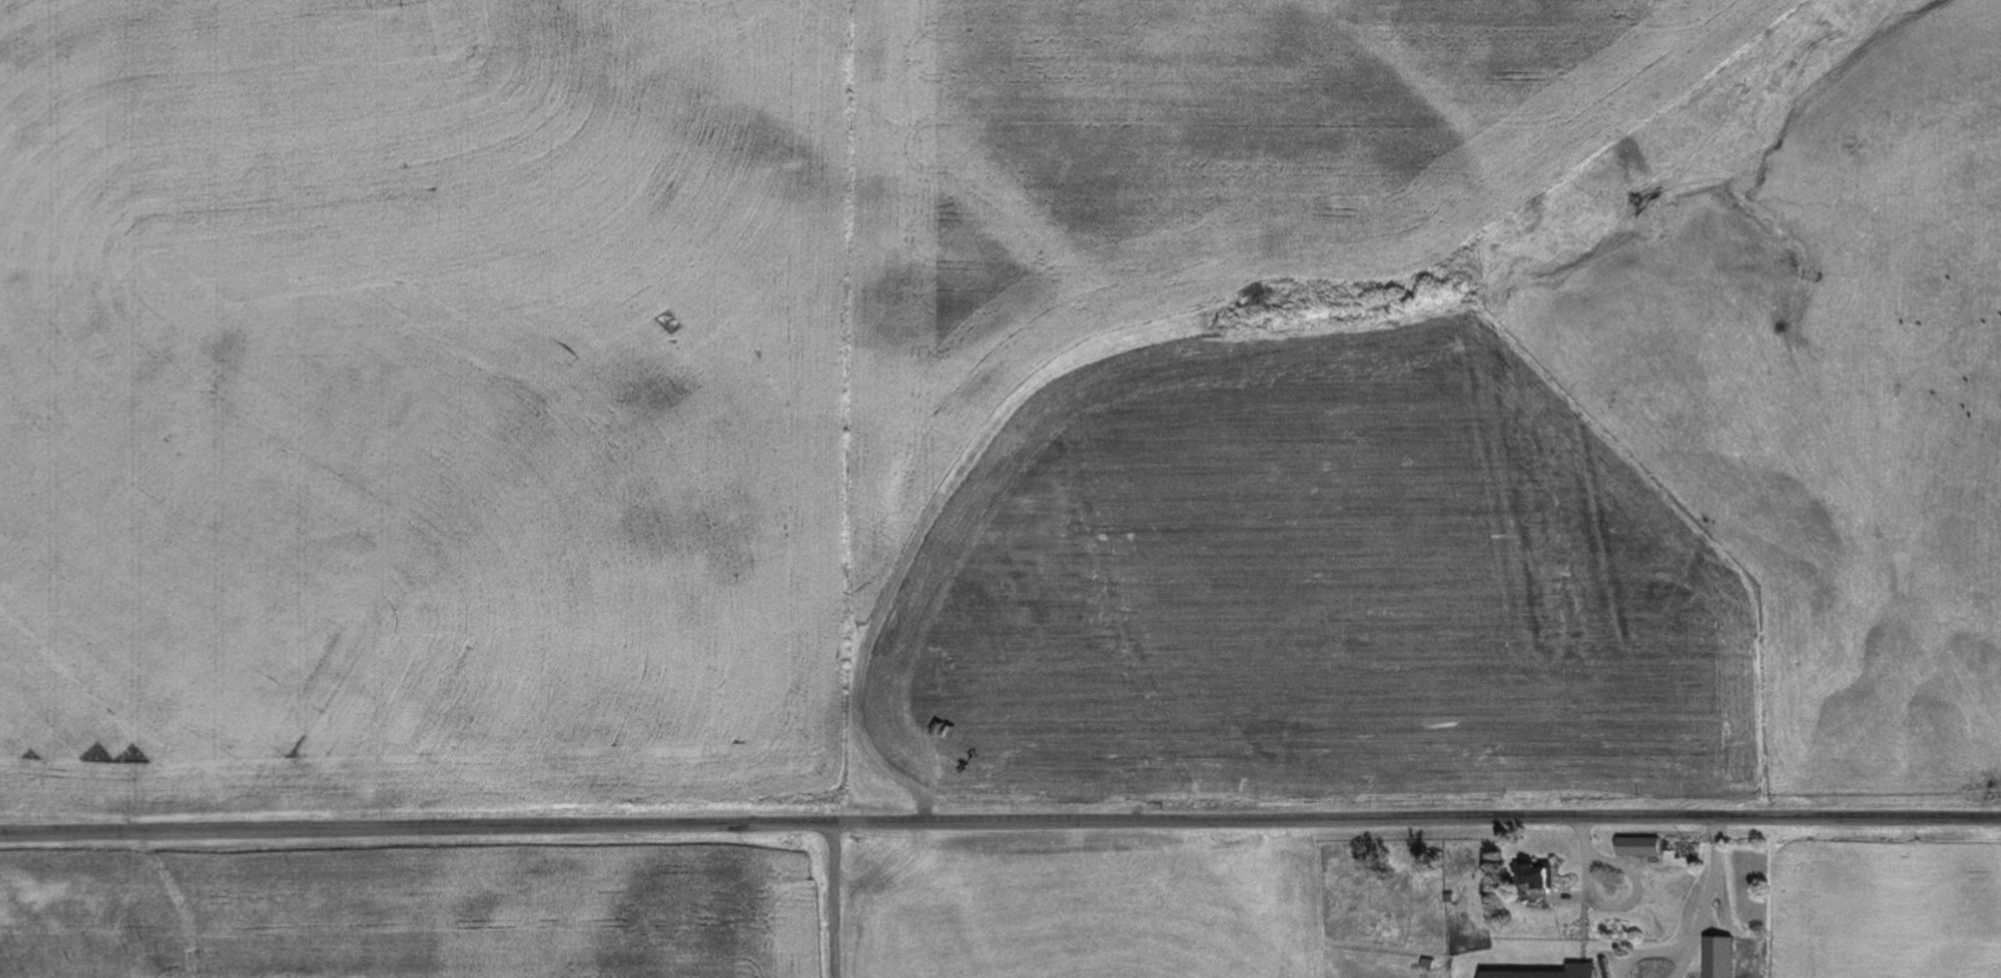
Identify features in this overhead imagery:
road: (1000, 824)
building: (1642, 847)
building: (1538, 877)
road: (836, 902)
building: (1721, 957)
building: (1586, 969)

